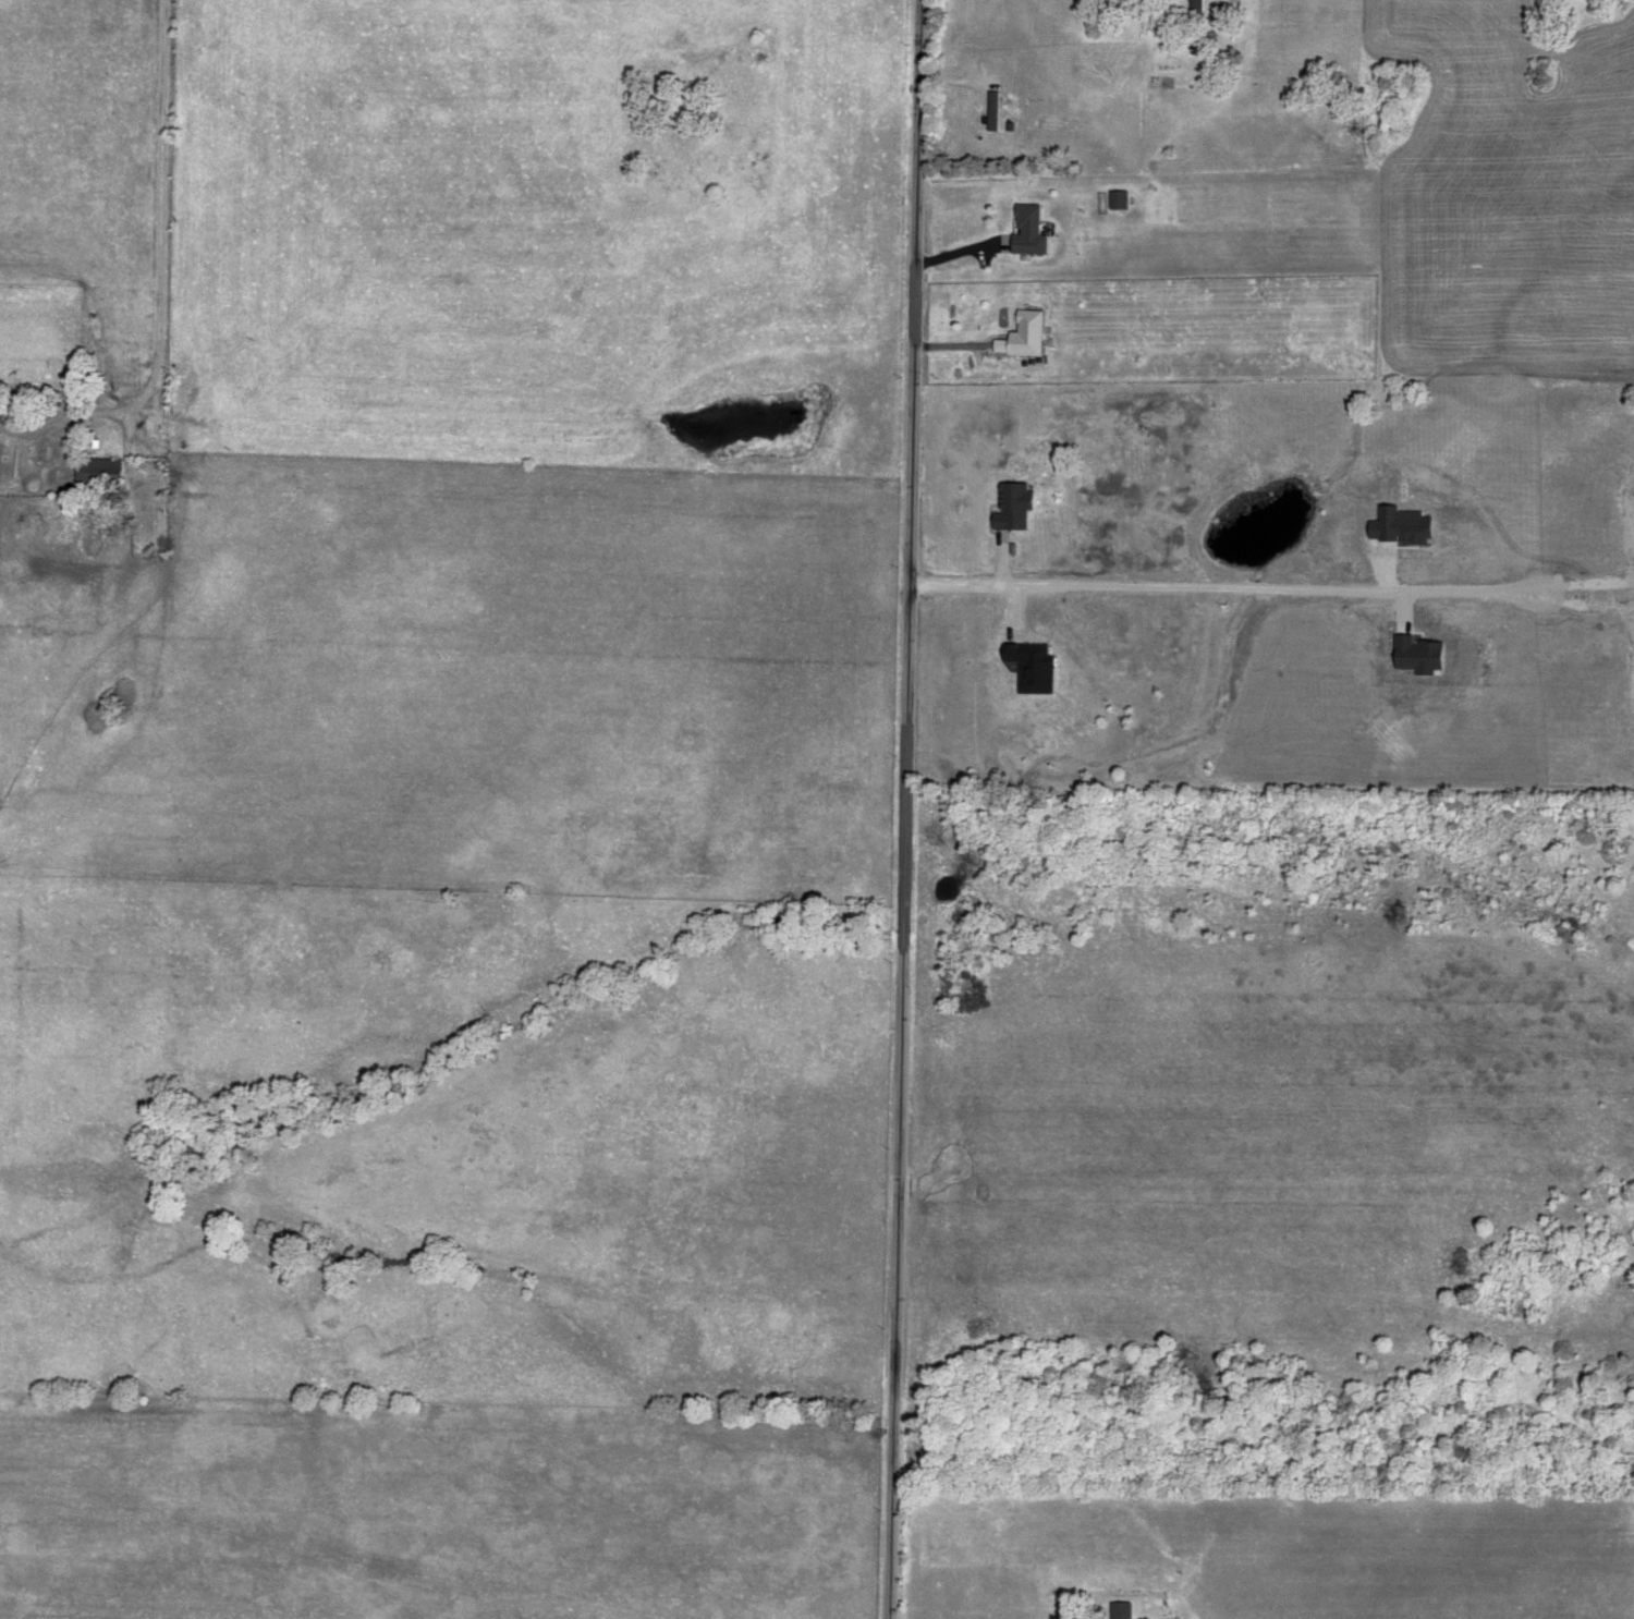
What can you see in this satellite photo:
building: (1195, 5)
building: (1121, 207)
building: (1033, 240)
road: (157, 243)
road: (952, 258)
building: (1024, 343)
road: (948, 349)
building: (95, 475)
building: (1016, 510)
road: (1002, 569)
road: (1225, 588)
road: (1014, 605)
building: (1032, 672)
road: (900, 809)
building: (1119, 1611)

